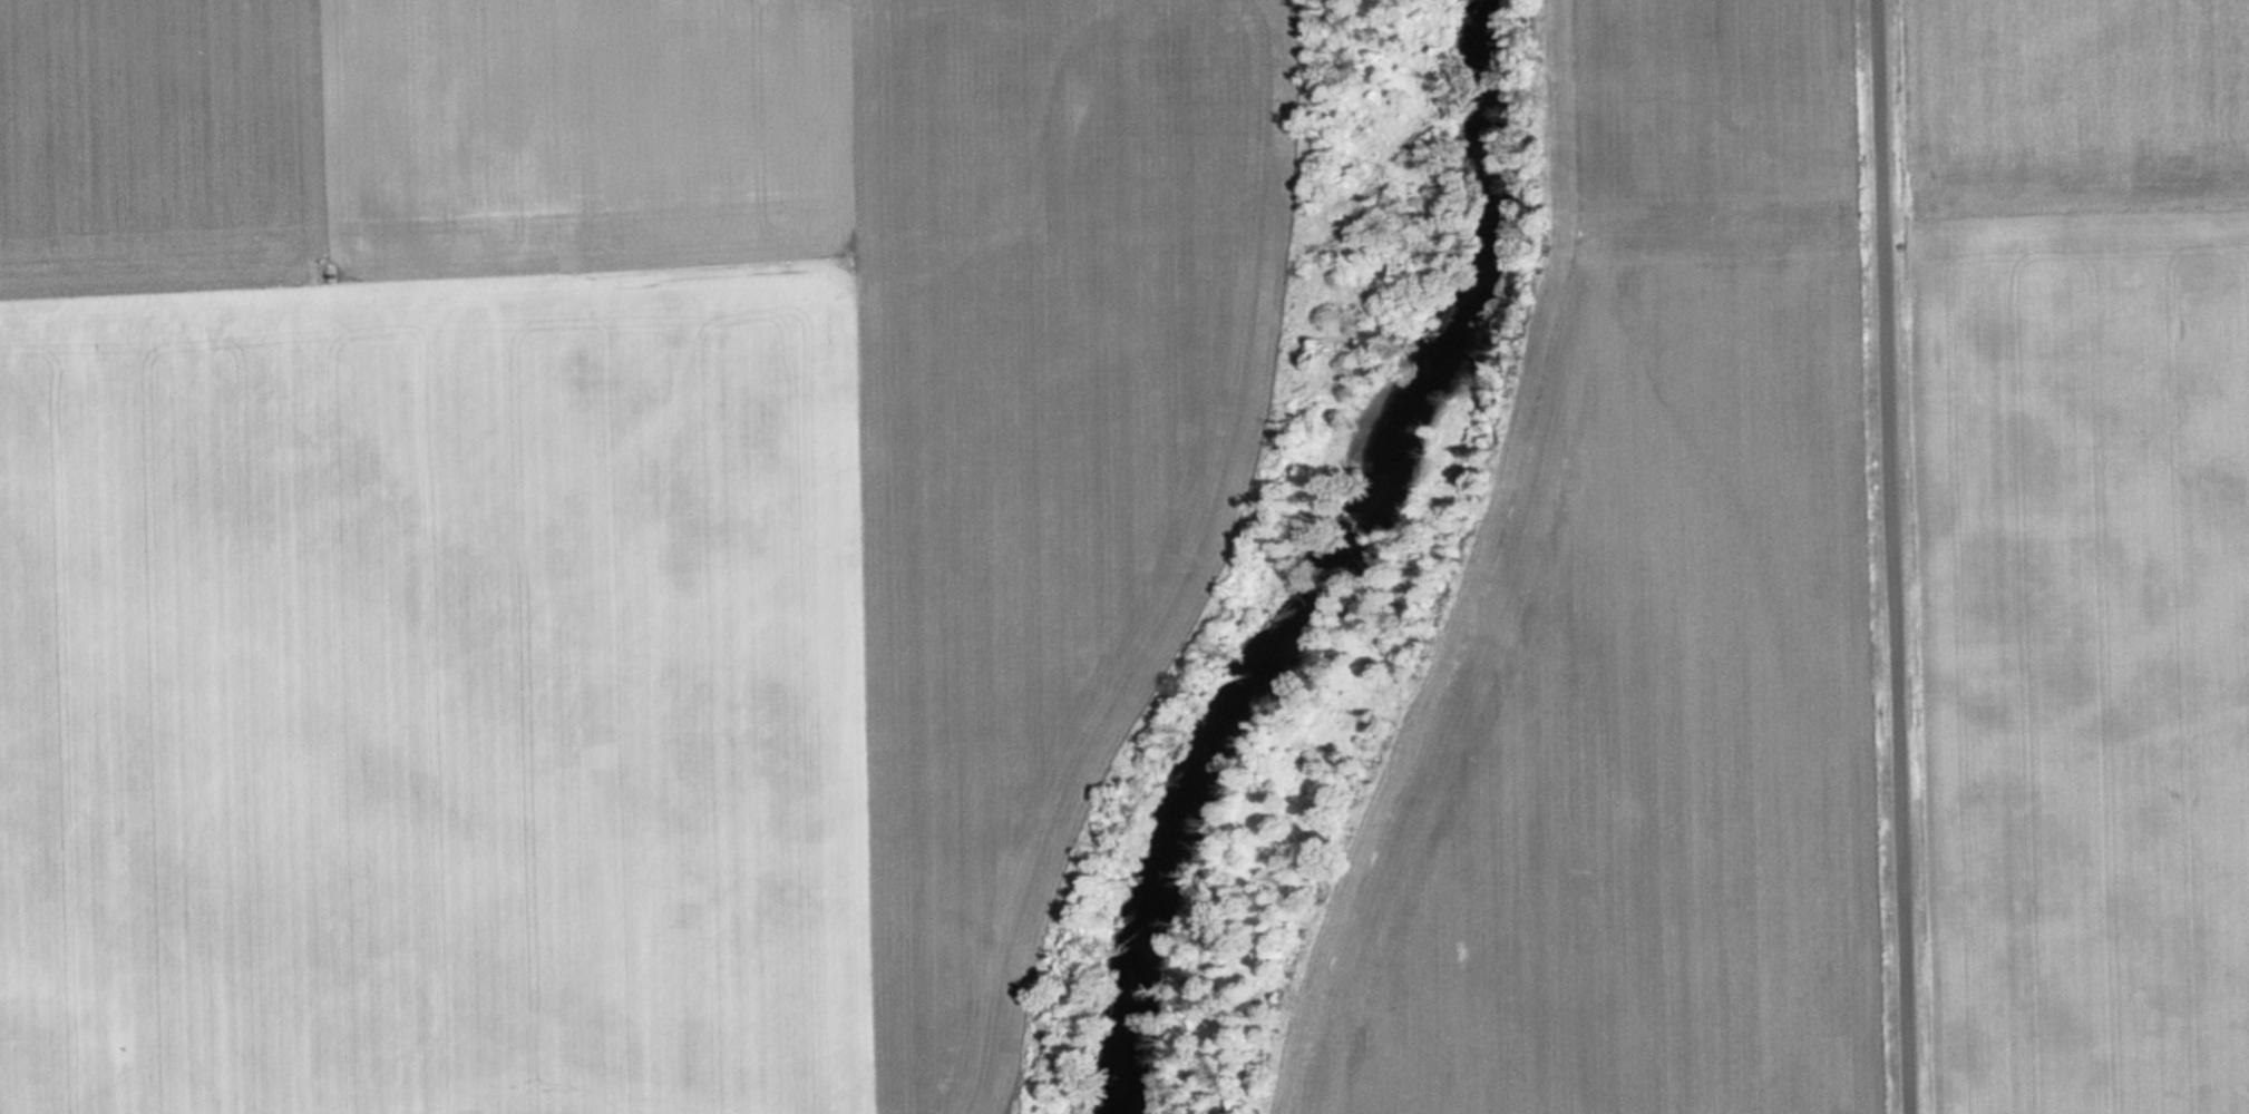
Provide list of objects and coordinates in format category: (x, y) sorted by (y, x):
road: (1907, 556)
river: (1331, 571)

